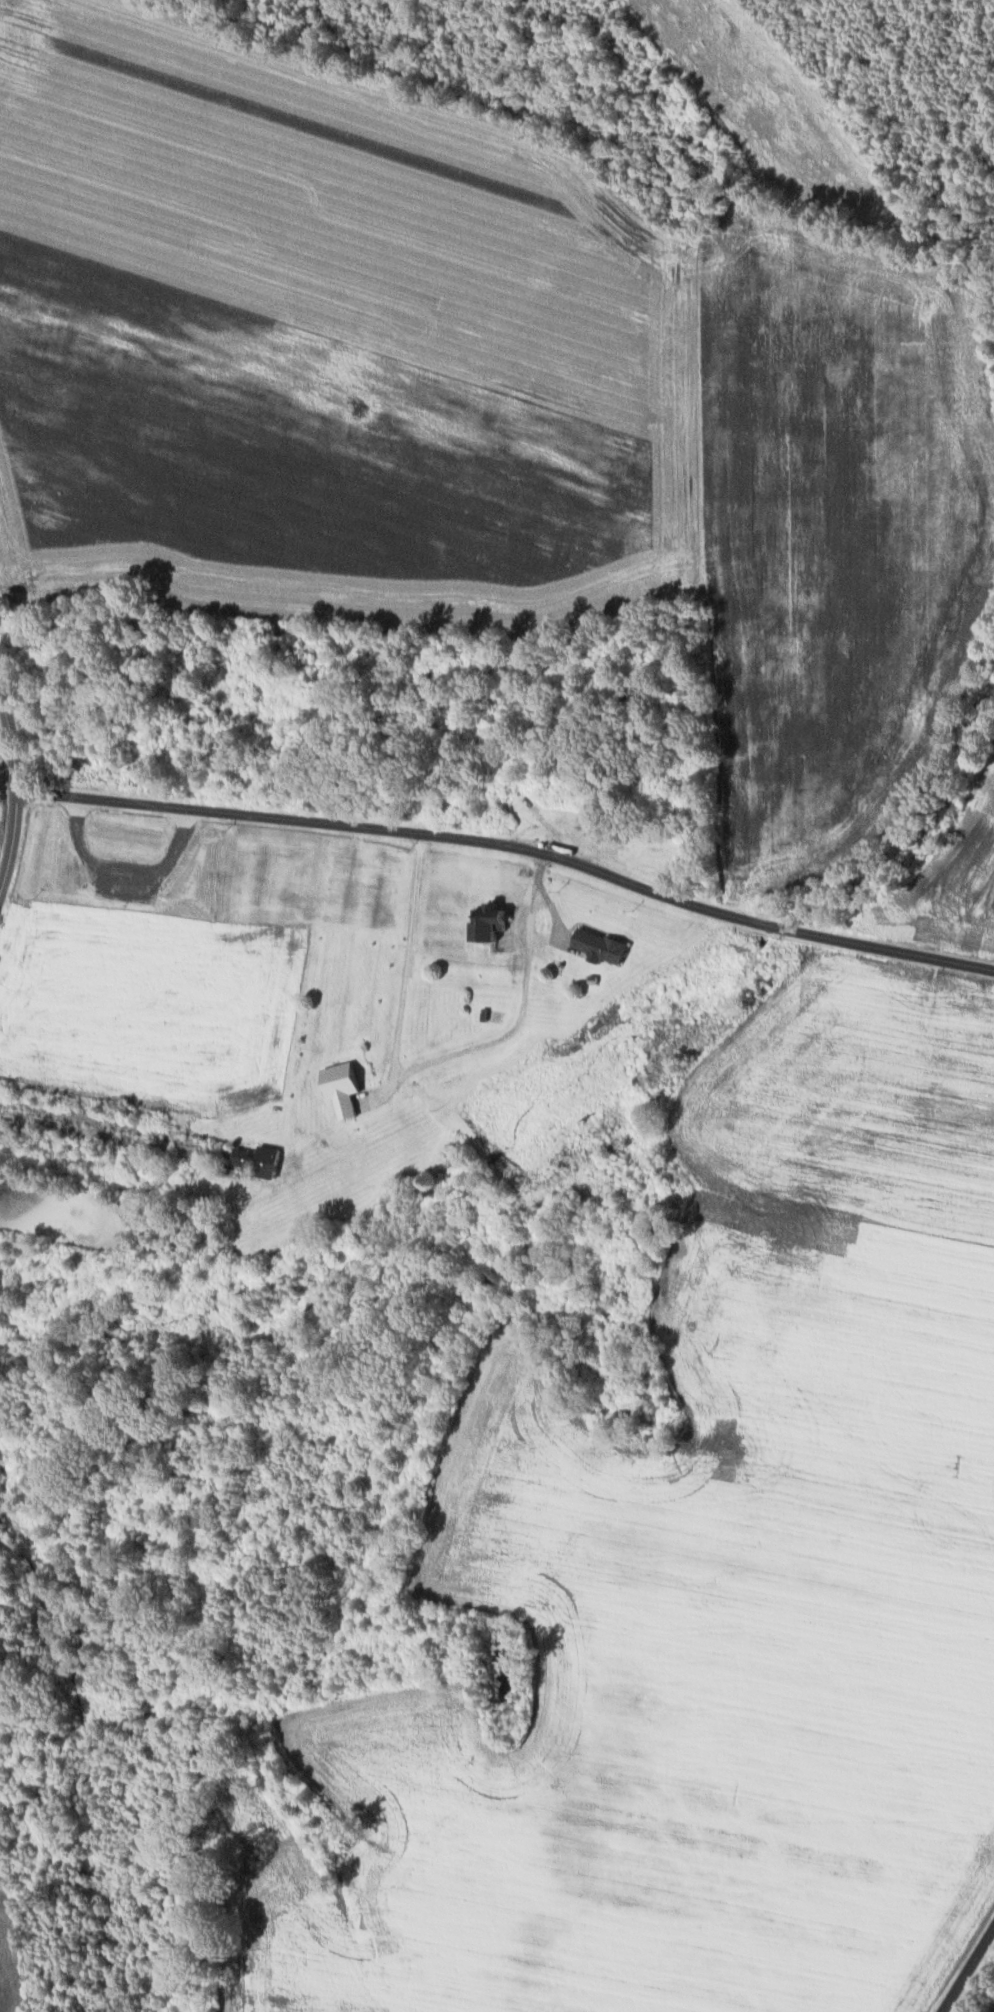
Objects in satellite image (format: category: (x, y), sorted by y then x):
road: (19, 787)
road: (513, 840)
building: (495, 922)
building: (603, 945)
road: (431, 1061)
building: (345, 1086)
building: (364, 1103)
building: (261, 1159)
road: (966, 1967)

